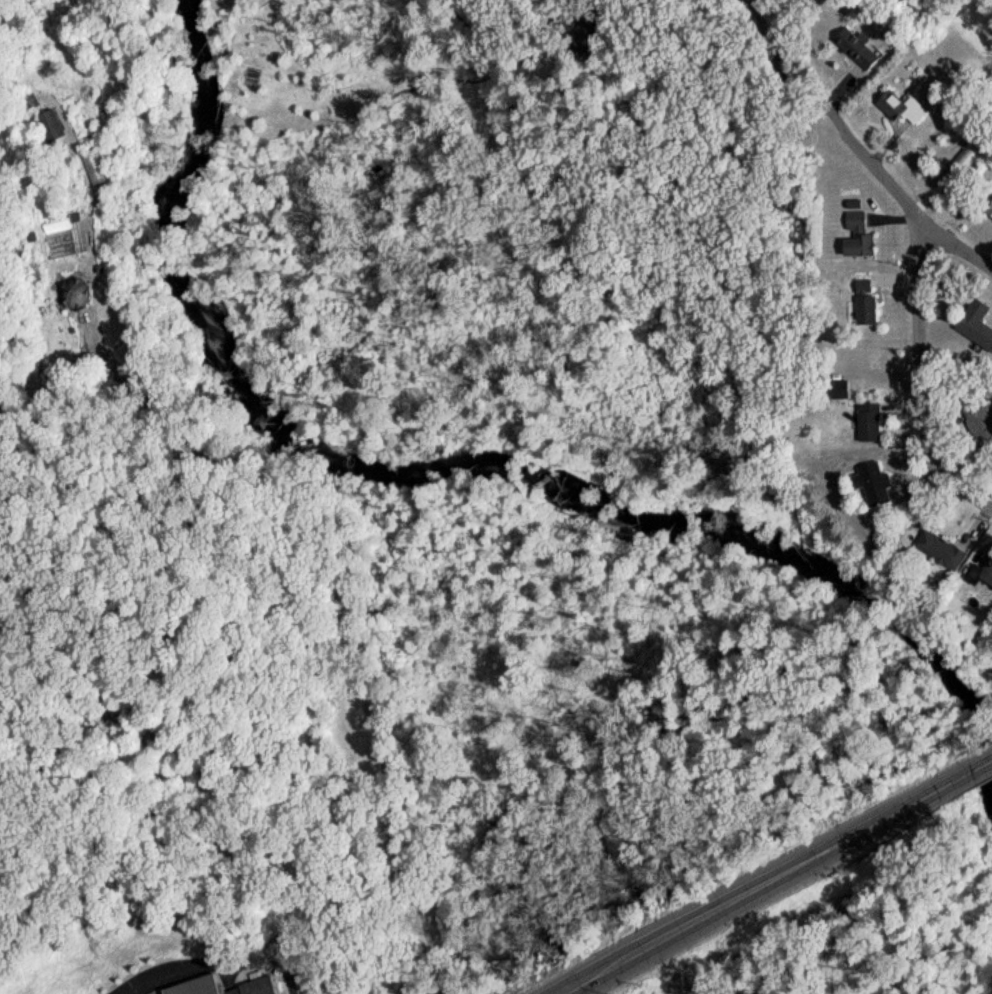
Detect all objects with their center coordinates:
building: (582, 40)
building: (853, 53)
building: (897, 112)
road: (853, 145)
building: (91, 171)
building: (988, 214)
building: (62, 241)
building: (855, 241)
building: (71, 299)
building: (862, 307)
building: (976, 332)
road: (923, 374)
building: (837, 394)
building: (865, 428)
building: (979, 429)
building: (869, 490)
building: (937, 556)
building: (984, 580)
road: (340, 630)
road: (778, 878)
building: (190, 989)
building: (252, 990)

